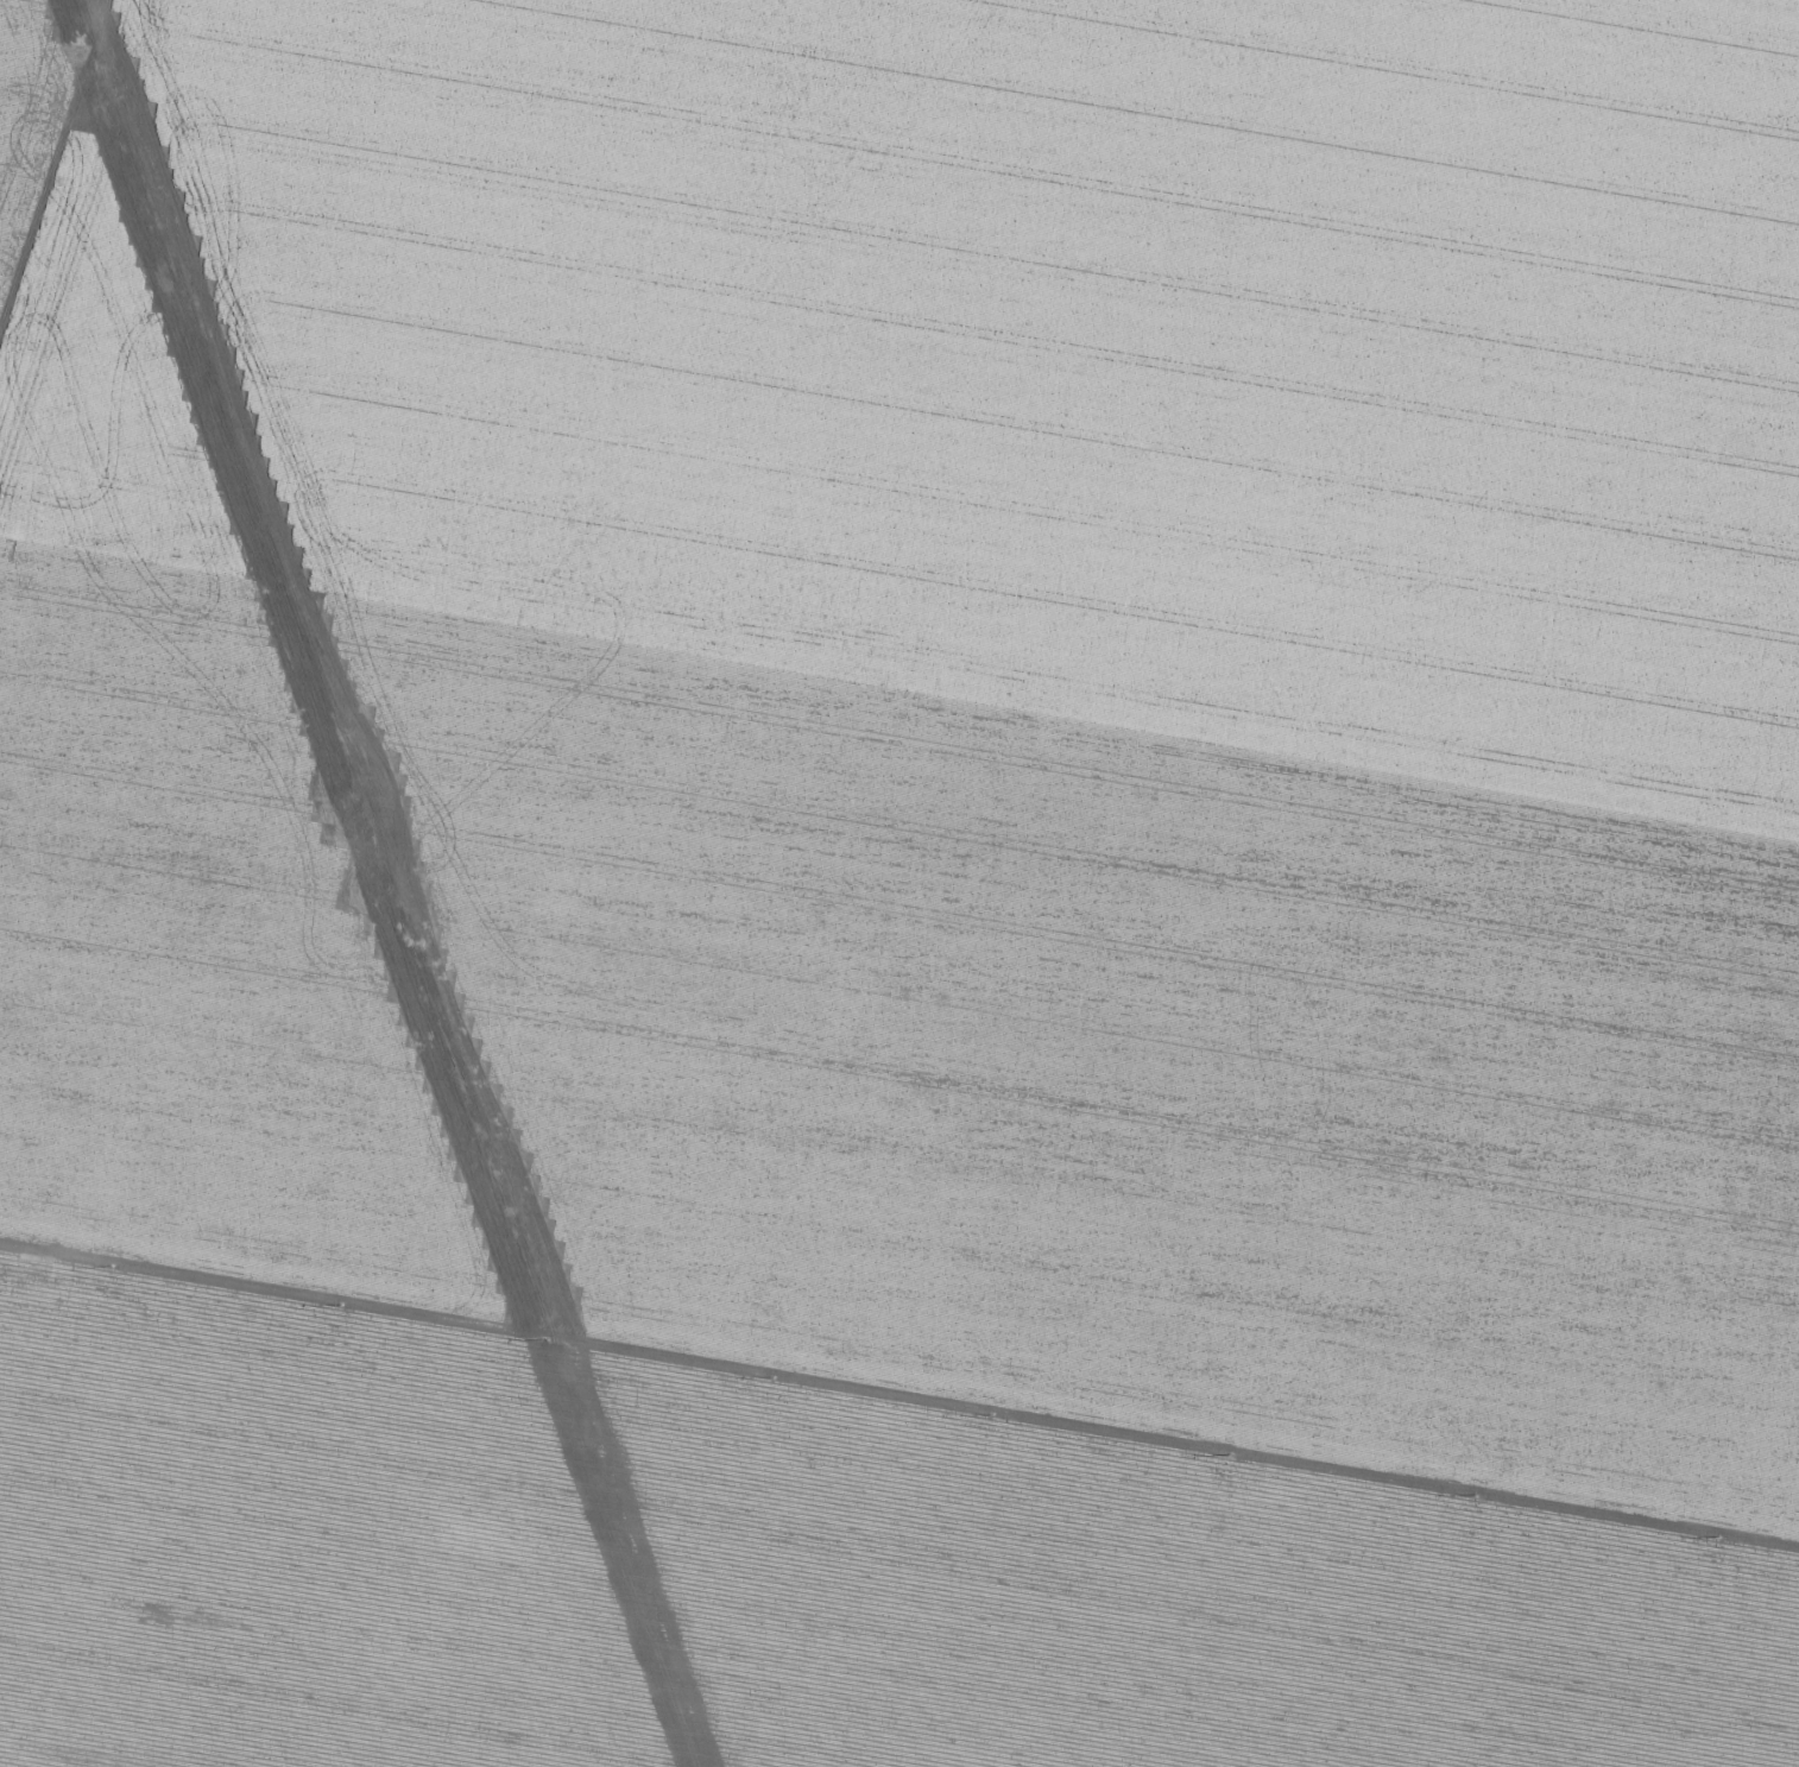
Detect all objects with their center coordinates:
road: (899, 1424)

